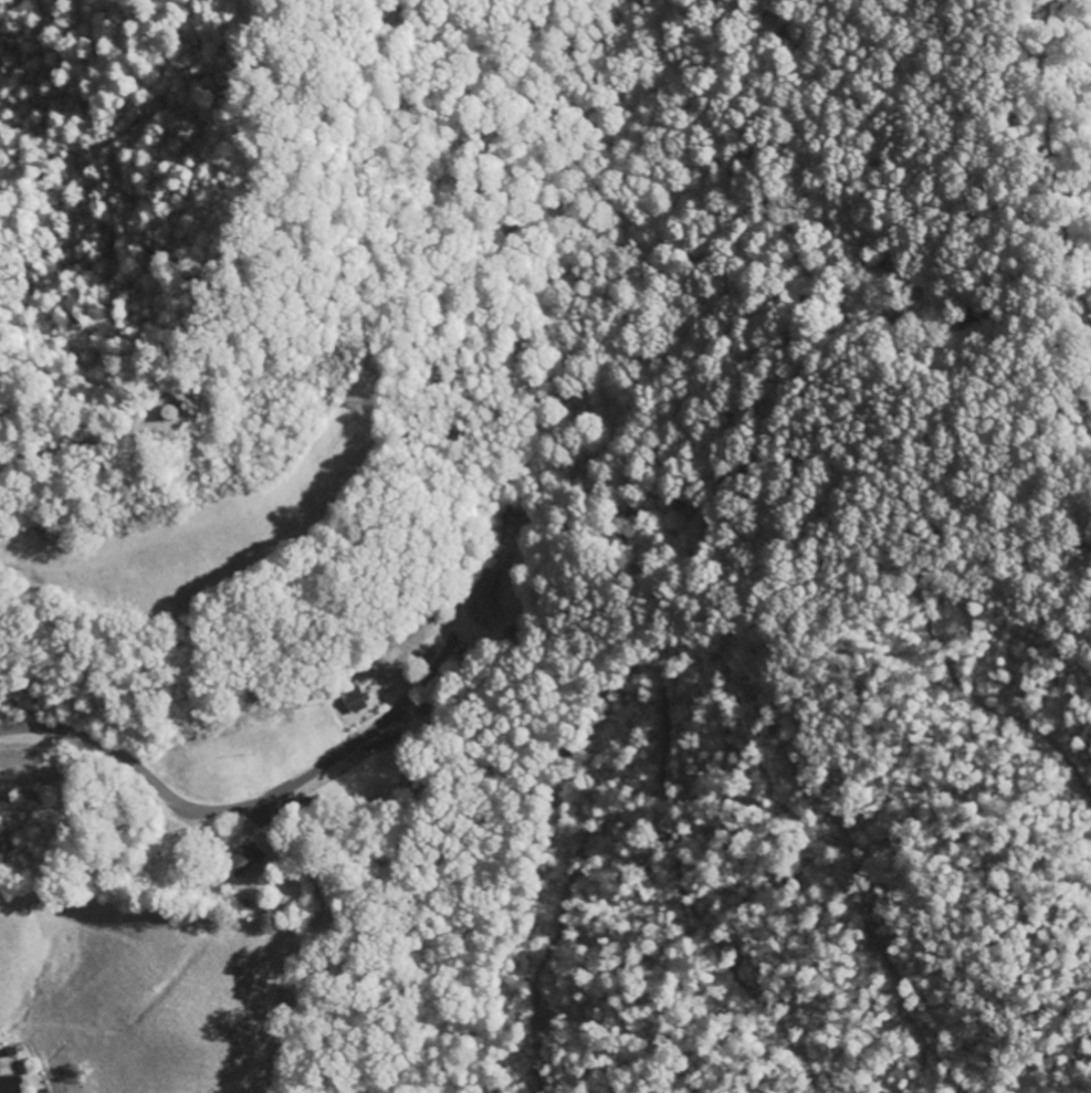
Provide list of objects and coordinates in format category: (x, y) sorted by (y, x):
building: (486, 597)
building: (354, 700)
road: (193, 805)
building: (243, 860)
road: (295, 958)
building: (10, 1084)

